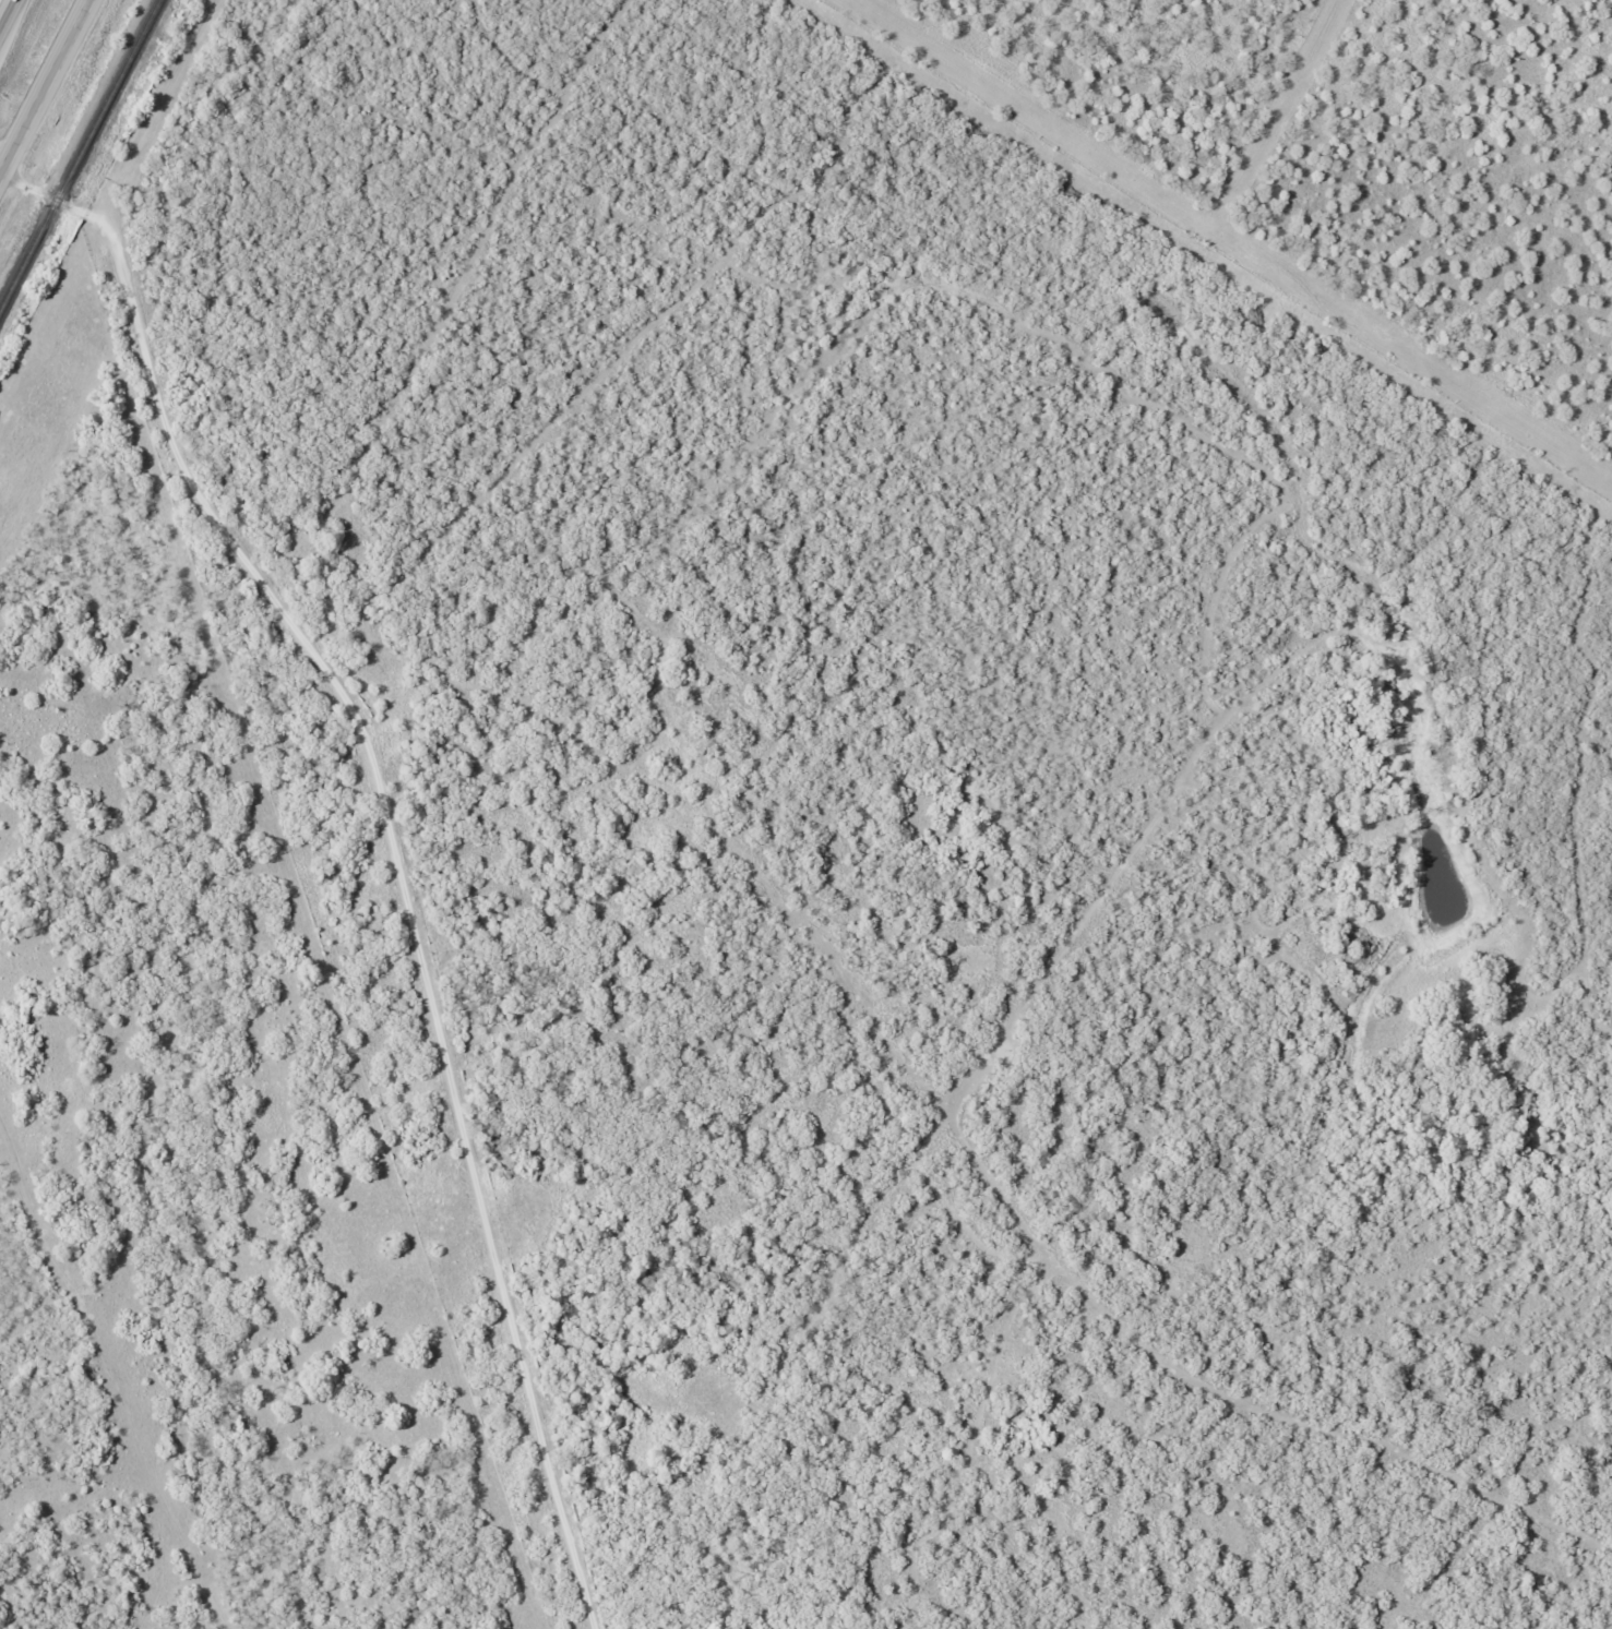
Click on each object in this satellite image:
road: (7, 14)
road: (46, 89)
railway: (82, 159)
road: (2, 170)

